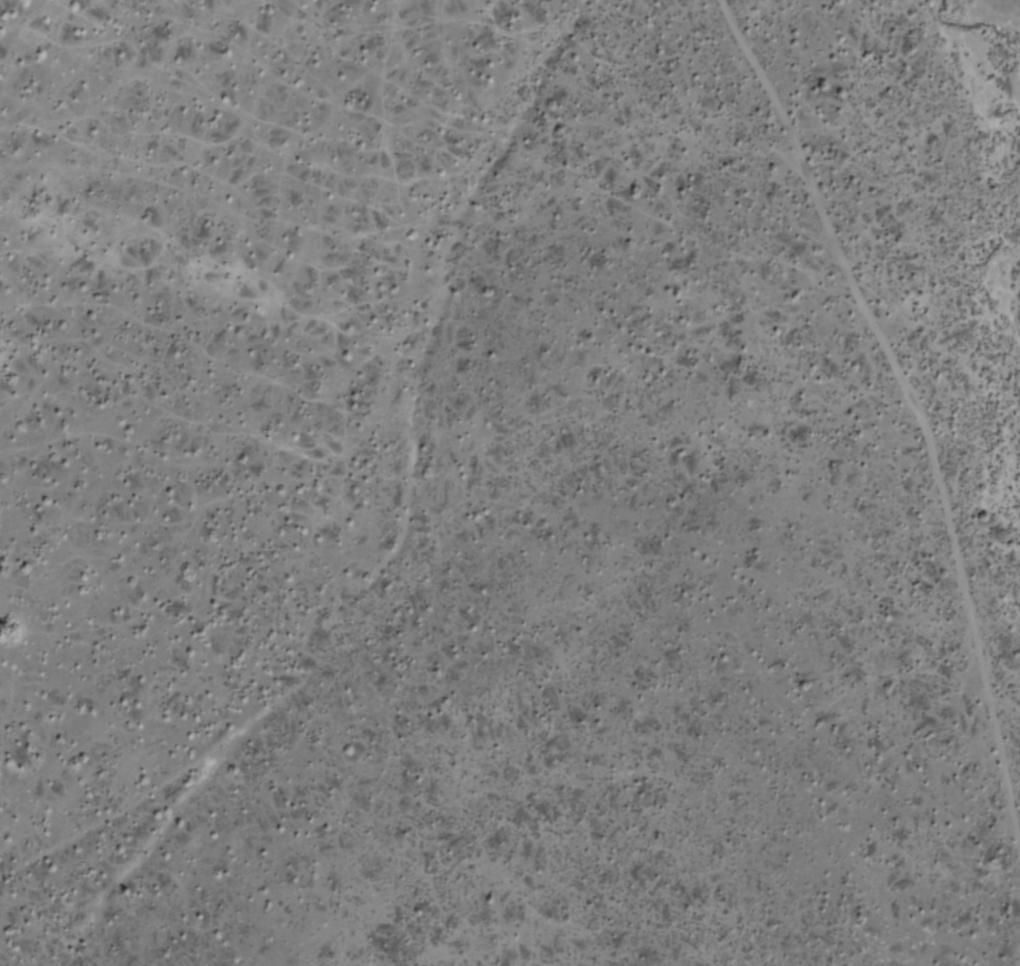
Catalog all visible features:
road: (915, 455)

